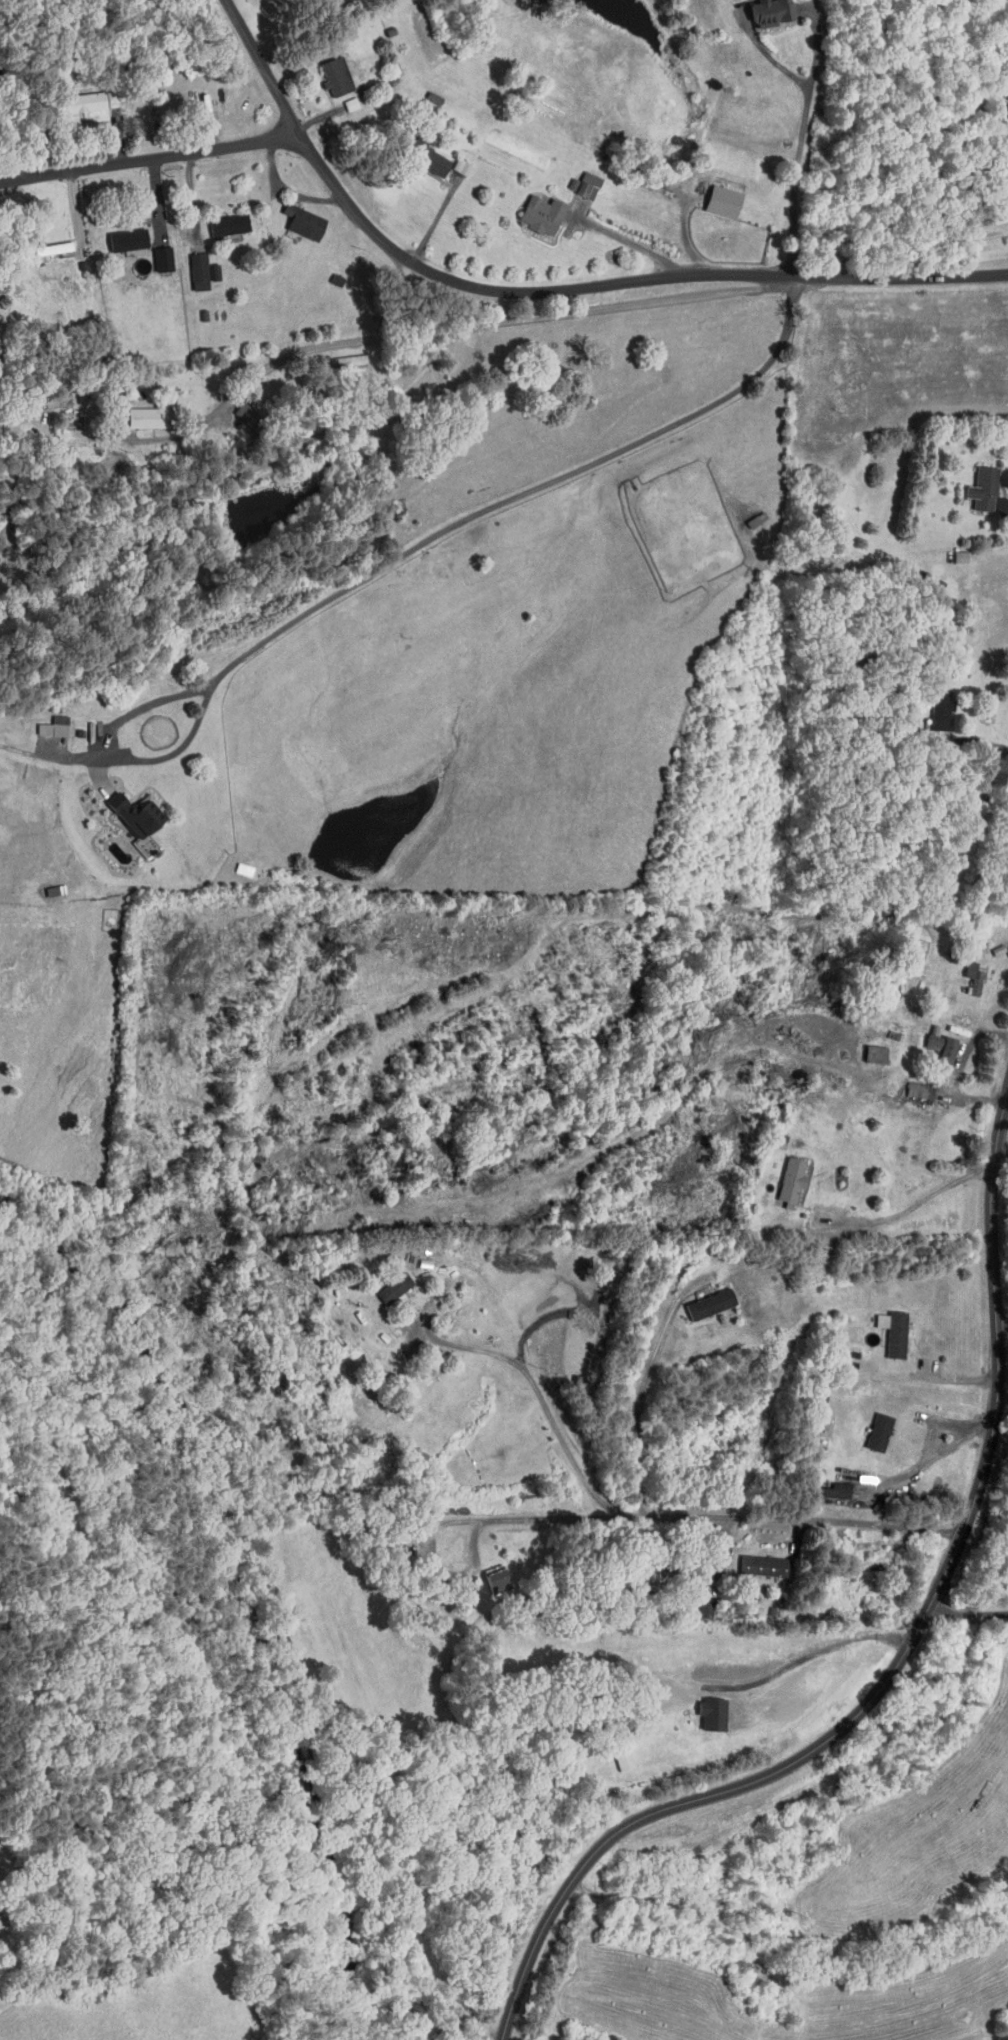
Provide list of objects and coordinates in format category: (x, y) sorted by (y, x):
building: (760, 10)
building: (325, 71)
building: (1002, 89)
building: (69, 98)
building: (340, 99)
road: (801, 143)
building: (415, 152)
road: (148, 159)
building: (450, 162)
building: (577, 180)
road: (192, 193)
building: (712, 196)
road: (157, 199)
road: (75, 207)
building: (530, 209)
building: (292, 217)
building: (217, 220)
road: (431, 225)
road: (685, 234)
building: (116, 235)
building: (41, 243)
road: (636, 247)
building: (151, 254)
building: (187, 266)
road: (541, 296)
road: (509, 320)
building: (134, 412)
building: (972, 484)
road: (491, 508)
building: (930, 703)
building: (42, 721)
road: (1000, 746)
road: (955, 747)
road: (965, 786)
building: (124, 807)
building: (134, 838)
building: (232, 864)
building: (962, 969)
building: (922, 1036)
building: (936, 1044)
building: (865, 1048)
road: (966, 1050)
road: (973, 1098)
road: (1002, 1147)
building: (780, 1176)
road: (914, 1206)
building: (383, 1282)
building: (698, 1298)
road: (1002, 1326)
building: (884, 1328)
building: (567, 1339)
road: (640, 1394)
road: (542, 1402)
building: (868, 1426)
road: (940, 1428)
road: (938, 1453)
building: (826, 1485)
road: (695, 1517)
building: (751, 1560)
building: (483, 1571)
building: (693, 1604)
road: (968, 1616)
road: (902, 1656)
building: (698, 1707)
building: (612, 1755)

